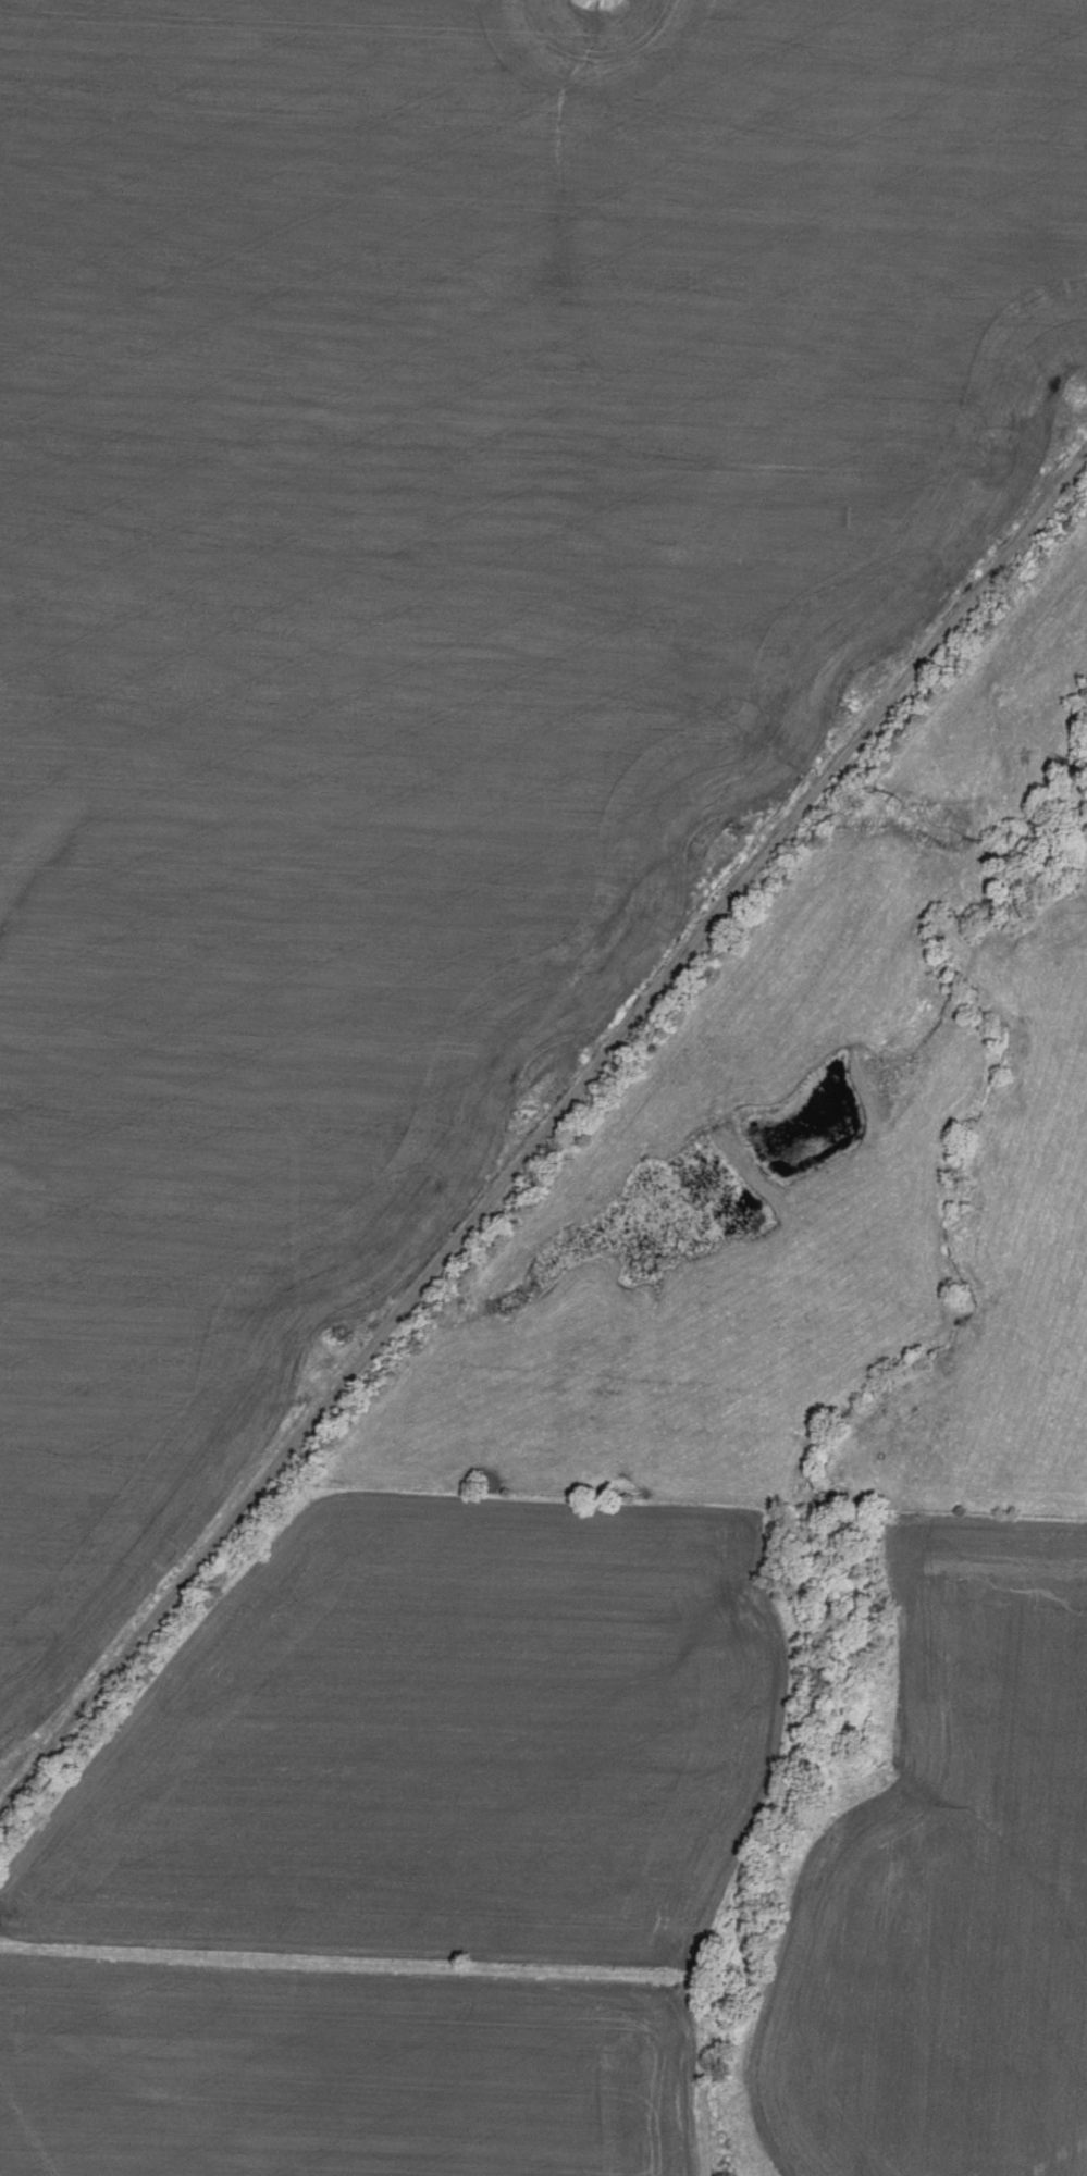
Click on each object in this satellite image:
road: (690, 2075)

